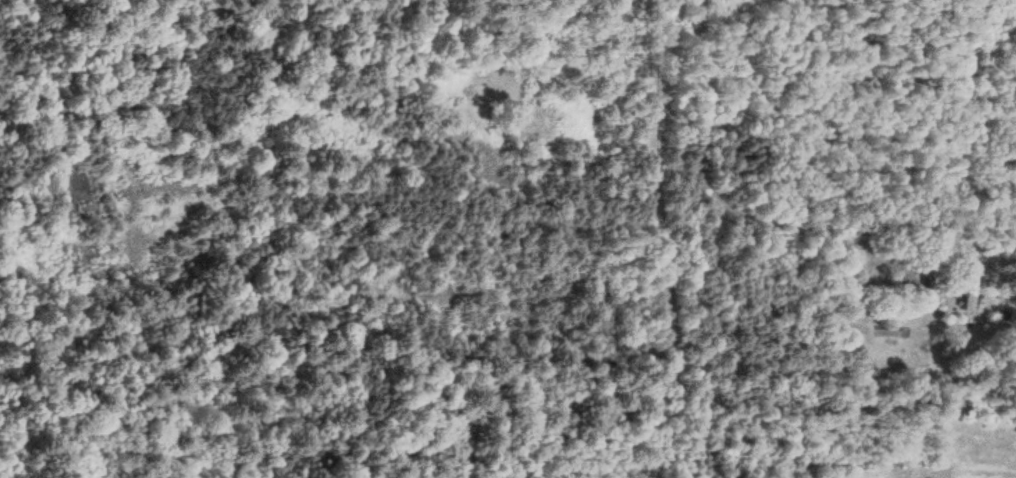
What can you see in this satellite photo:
road: (406, 239)
building: (967, 288)

